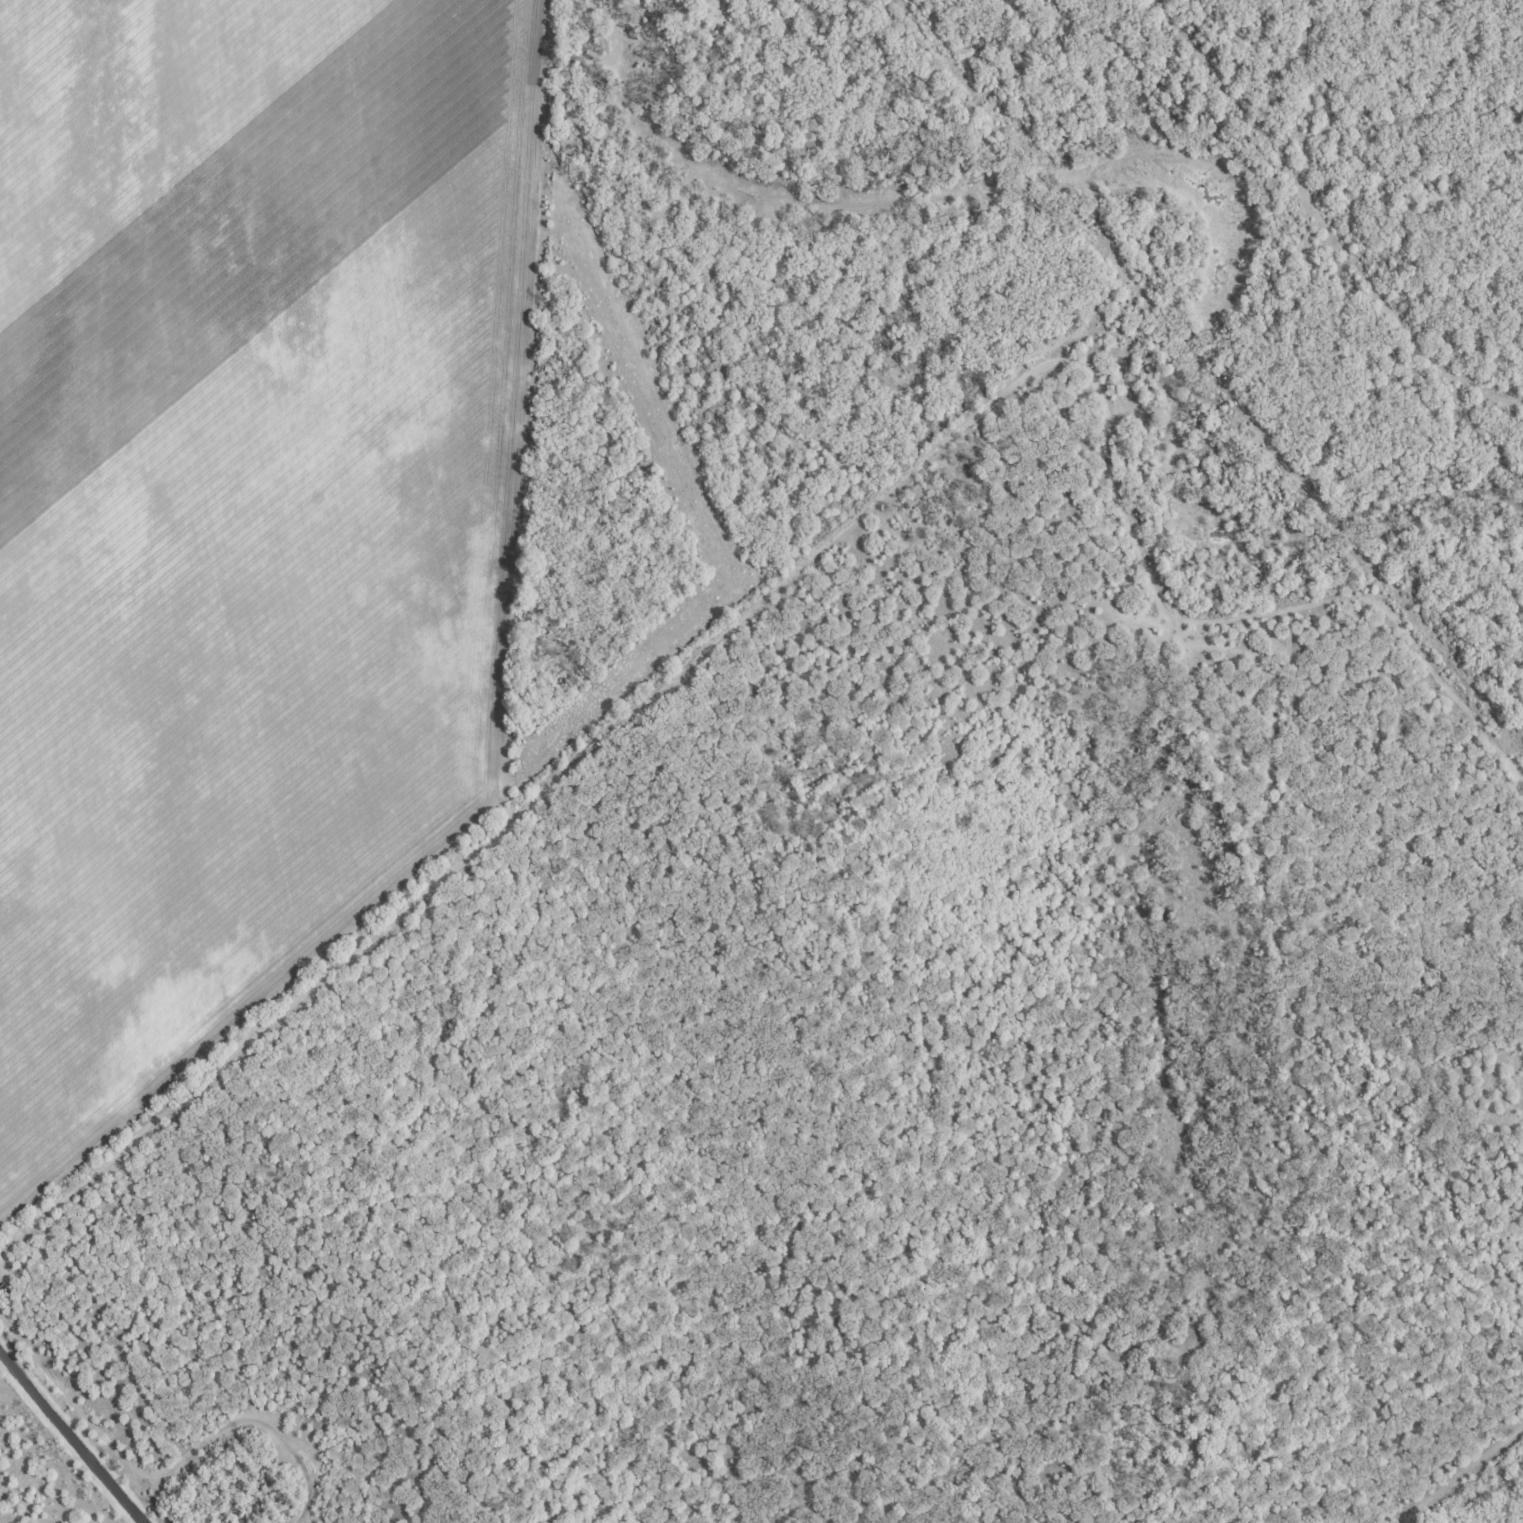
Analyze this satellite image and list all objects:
road: (73, 1435)

